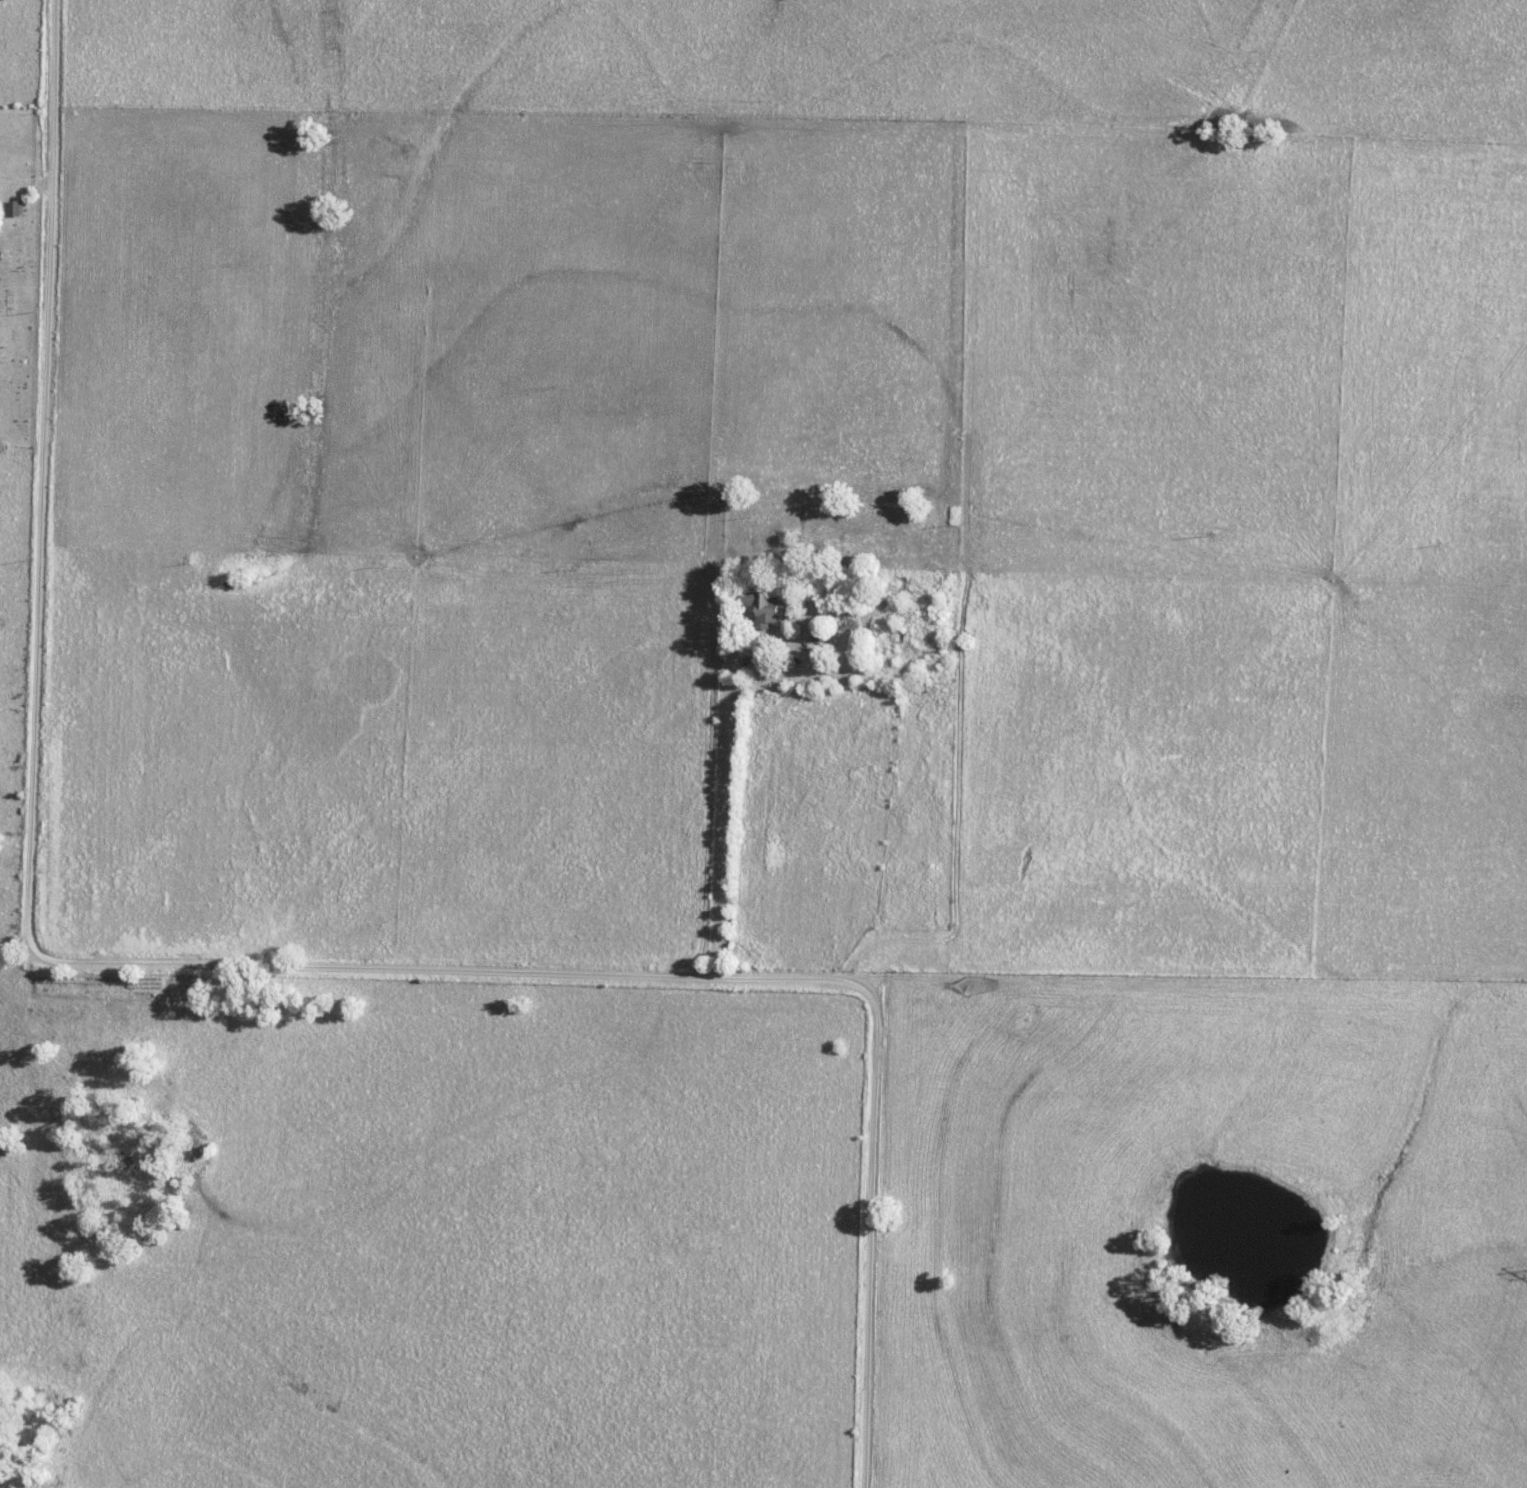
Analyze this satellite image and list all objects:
building: (15, 208)
park: (21, 269)
building: (763, 607)
building: (917, 688)
road: (736, 746)
road: (226, 968)

